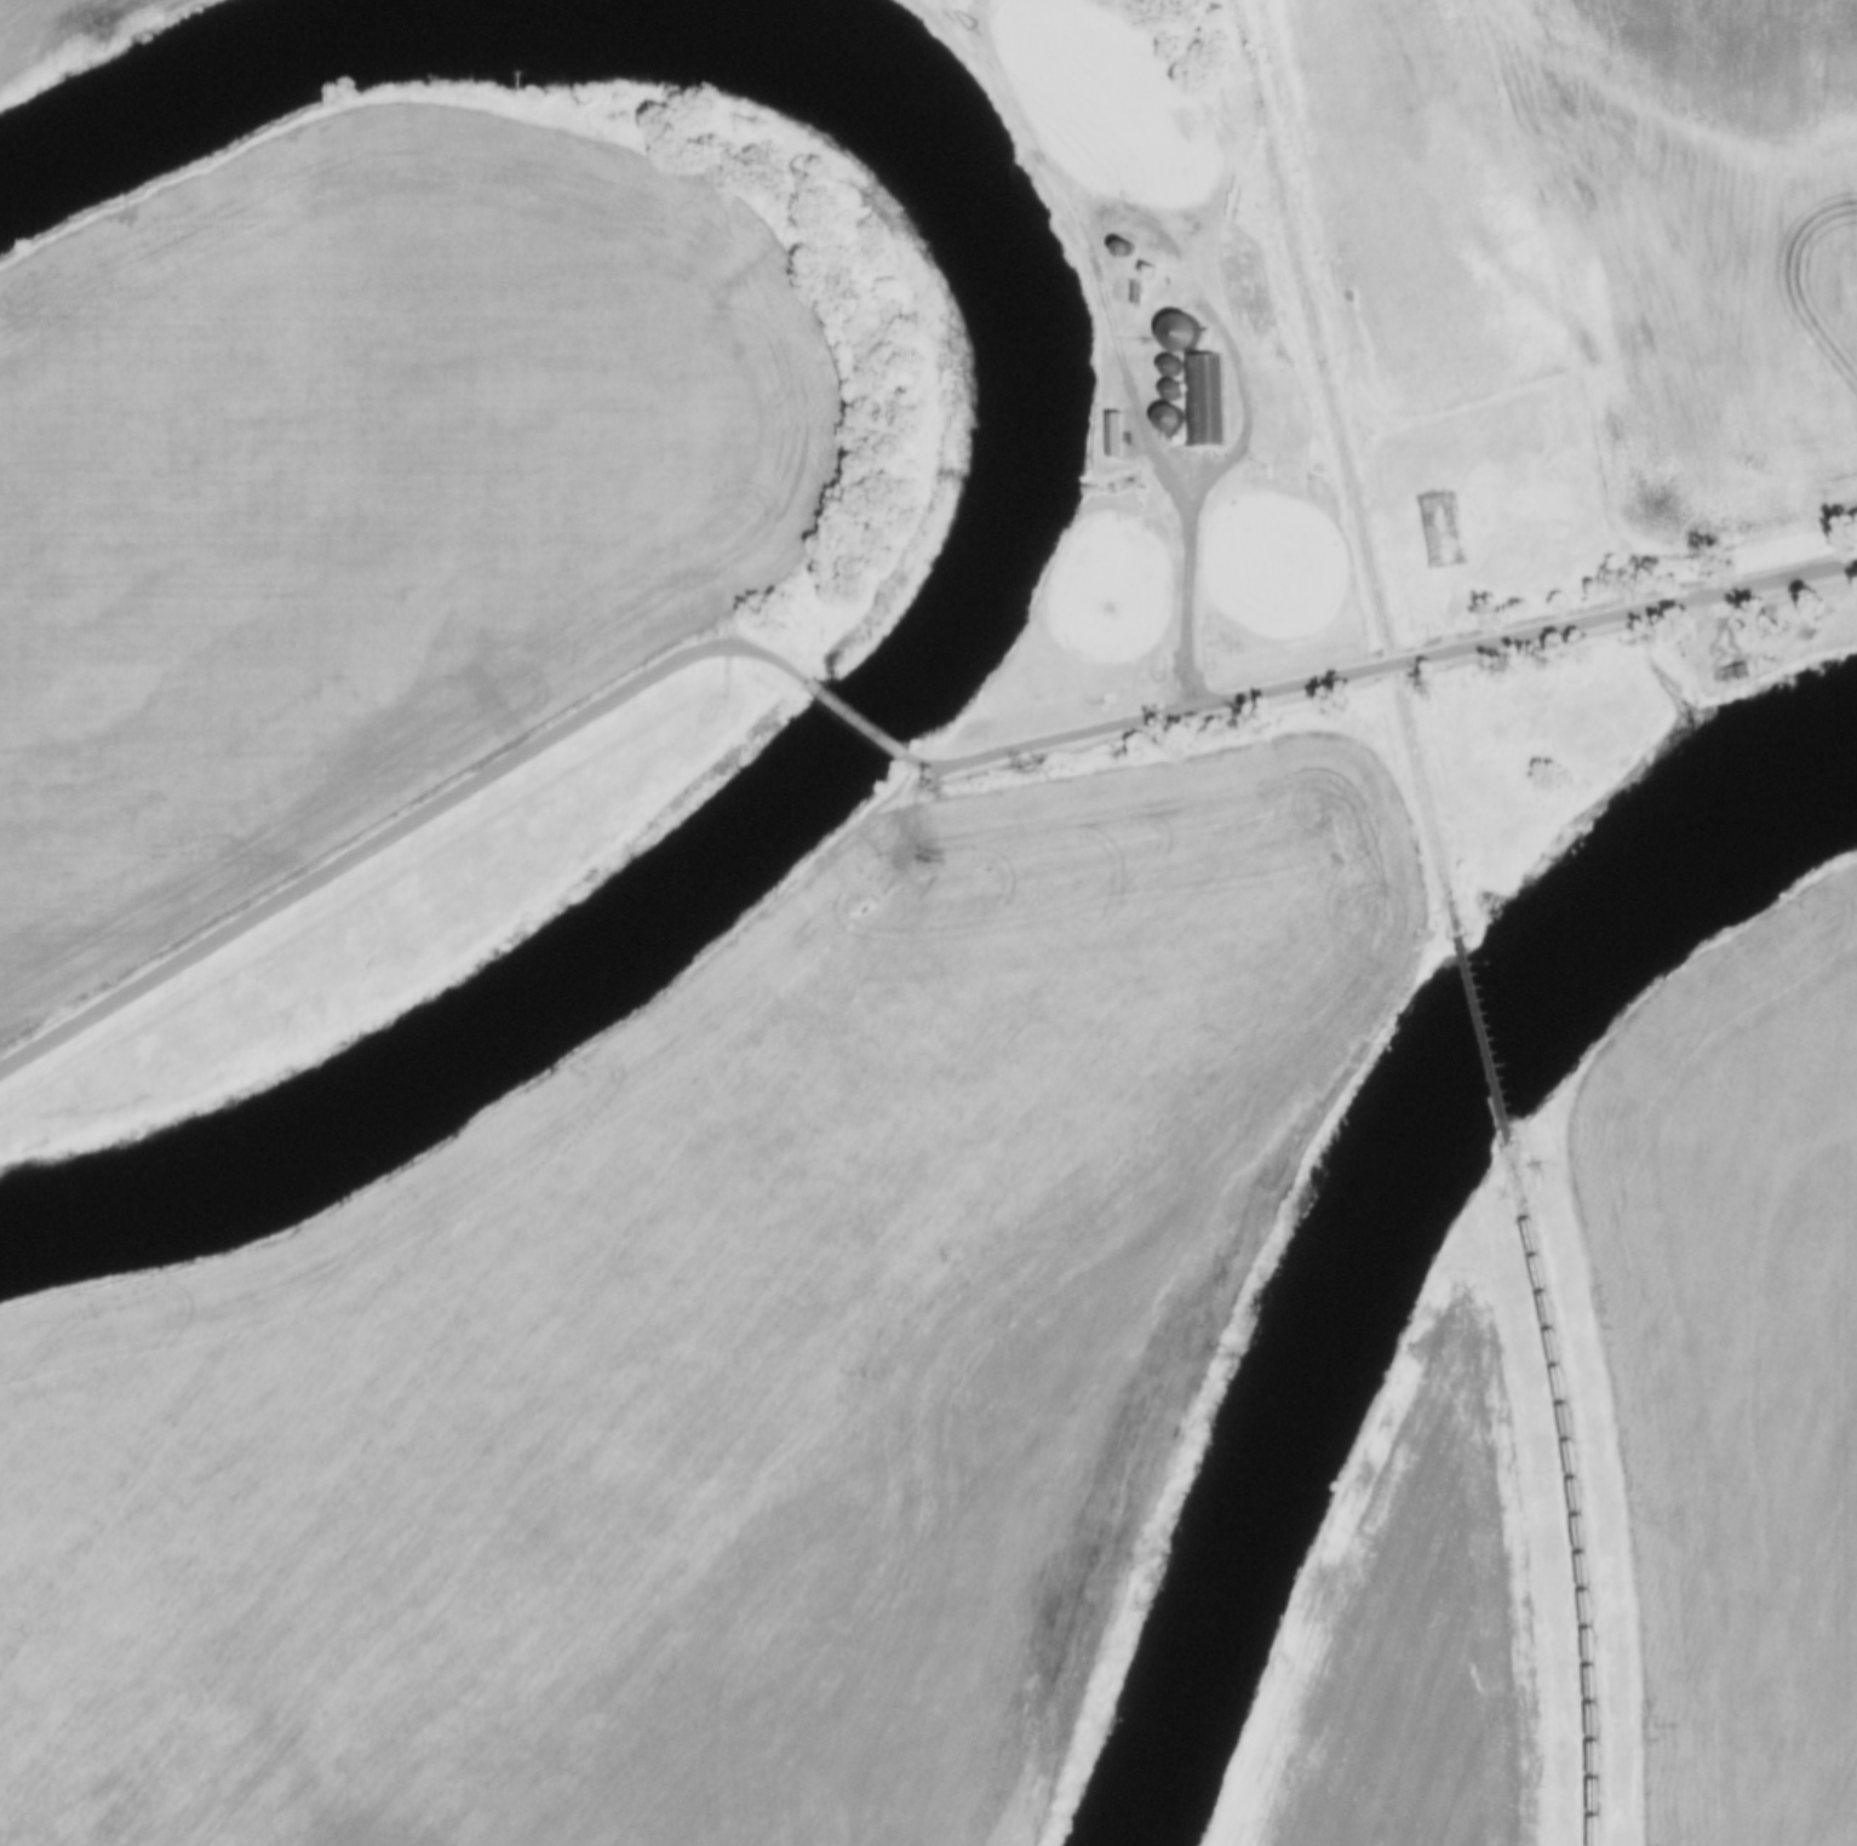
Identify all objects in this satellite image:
river: (234, 86)
building: (1130, 236)
silo: (1130, 236)
road: (1204, 288)
building: (1186, 331)
silo: (1186, 331)
building: (1177, 365)
silo: (1177, 365)
building: (1179, 388)
silo: (1179, 388)
building: (1209, 397)
building: (1175, 417)
silo: (1175, 417)
building: (1185, 437)
silo: (1185, 437)
railway: (1349, 464)
building: (1450, 527)
road: (1383, 665)
road: (867, 717)
river: (832, 773)
road: (408, 824)
railway: (1490, 1036)
river: (1376, 1211)
railway: (1578, 1491)

